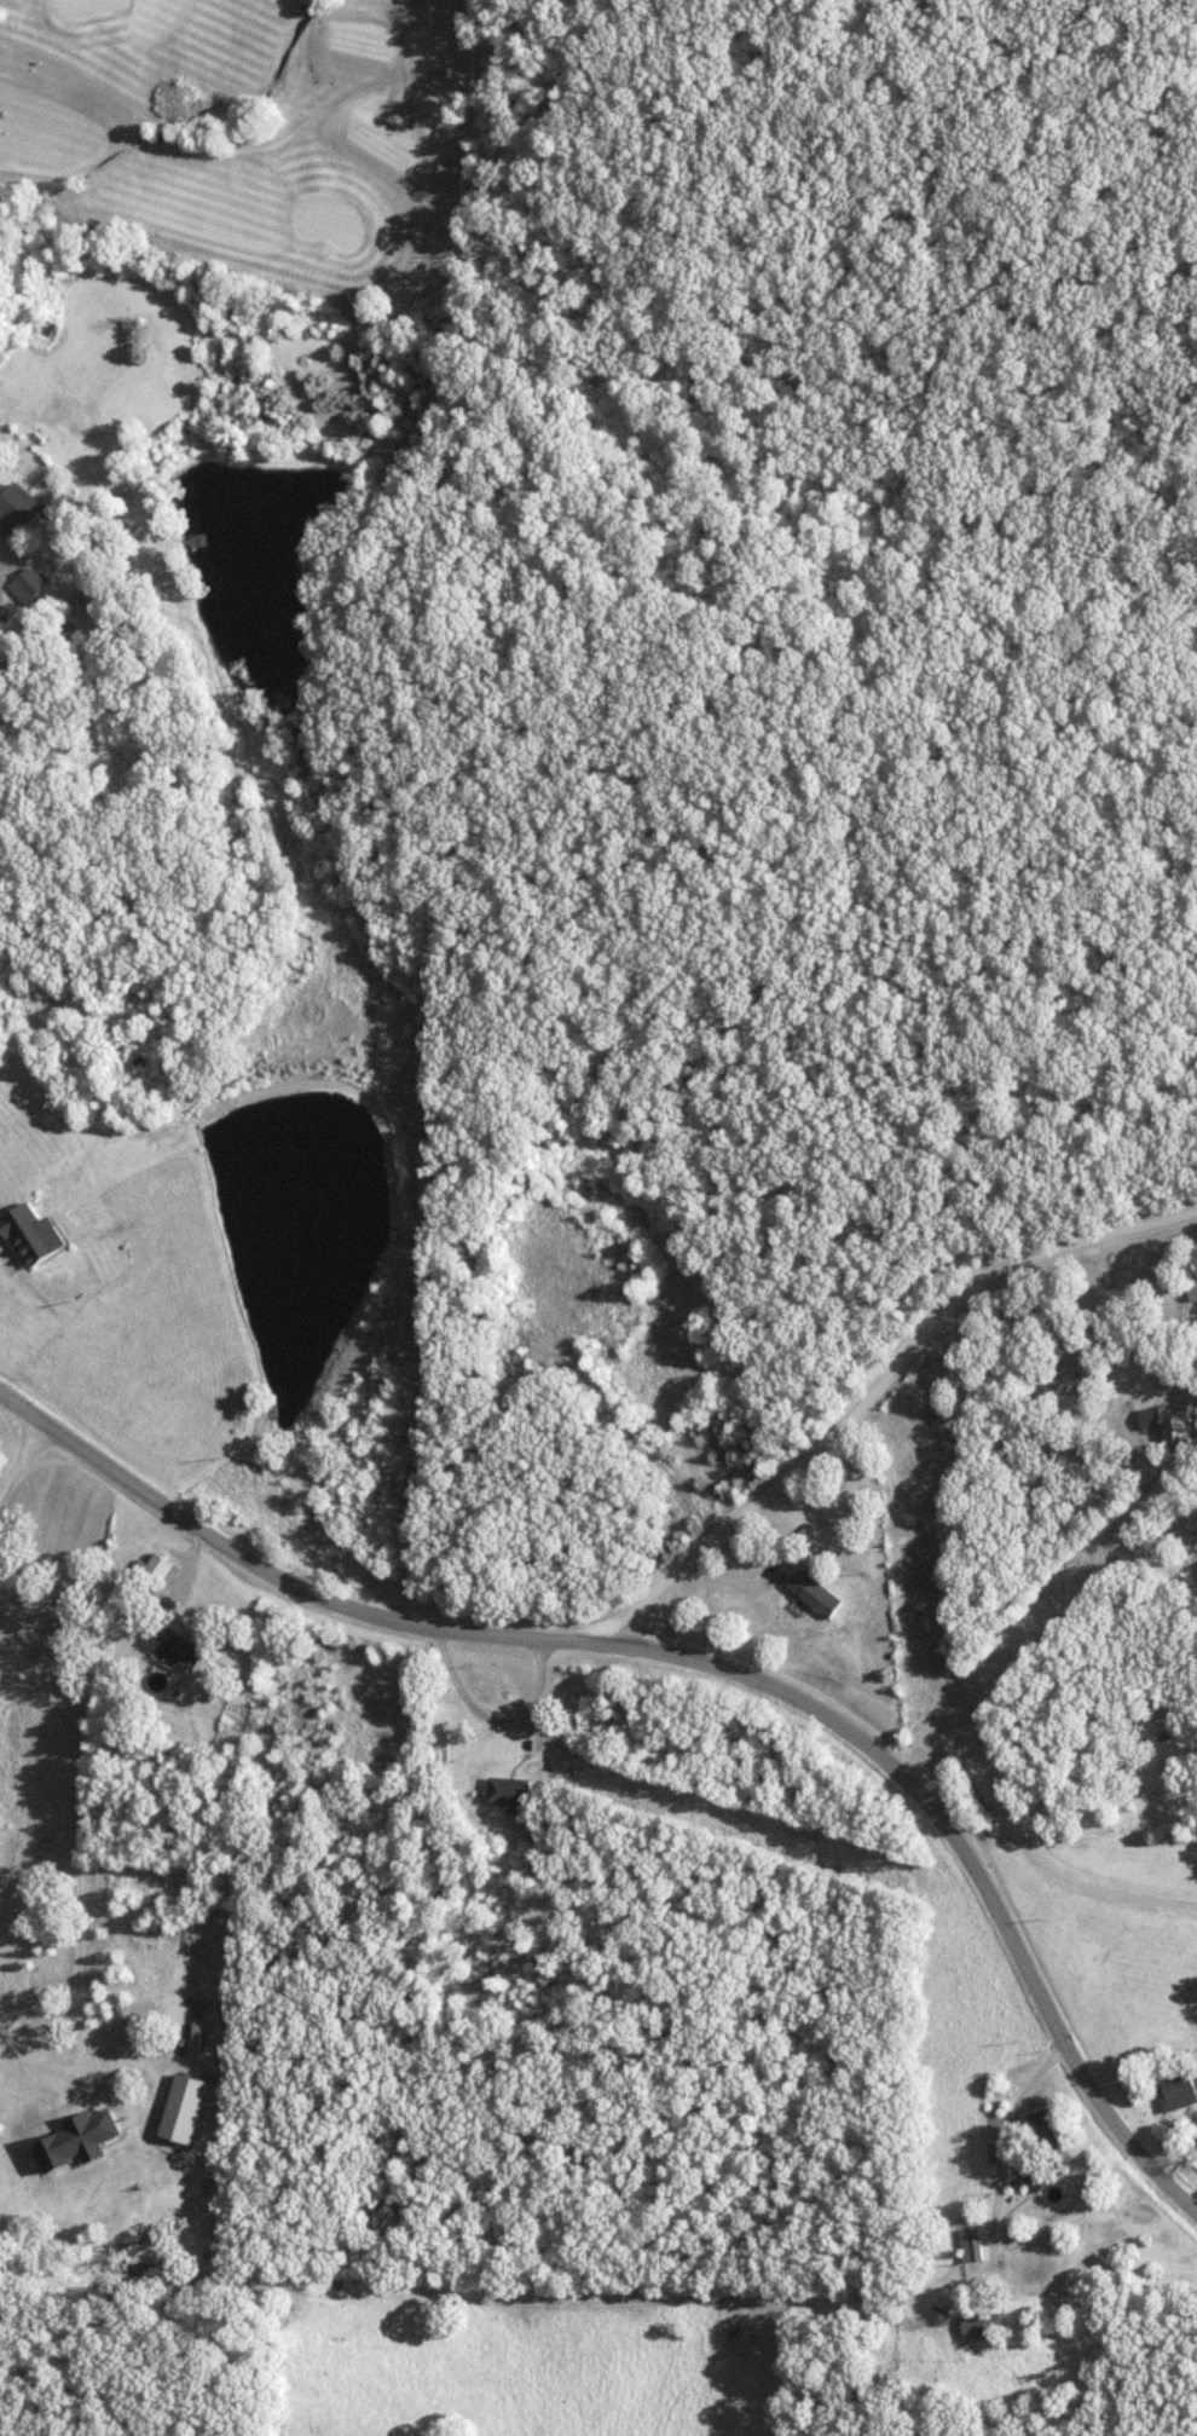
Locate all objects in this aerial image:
park: (258, 142)
building: (16, 508)
road: (15, 561)
building: (25, 585)
road: (1162, 798)
building: (28, 1234)
road: (493, 1282)
road: (879, 1385)
building: (1164, 1424)
building: (151, 1569)
building: (814, 1593)
building: (174, 1647)
road: (704, 1666)
road: (503, 1722)
building: (507, 1789)
road: (1028, 1848)
building: (1176, 2088)
building: (1042, 2135)
road: (997, 2140)
building: (1034, 2177)
building: (970, 2245)
building: (981, 2325)

